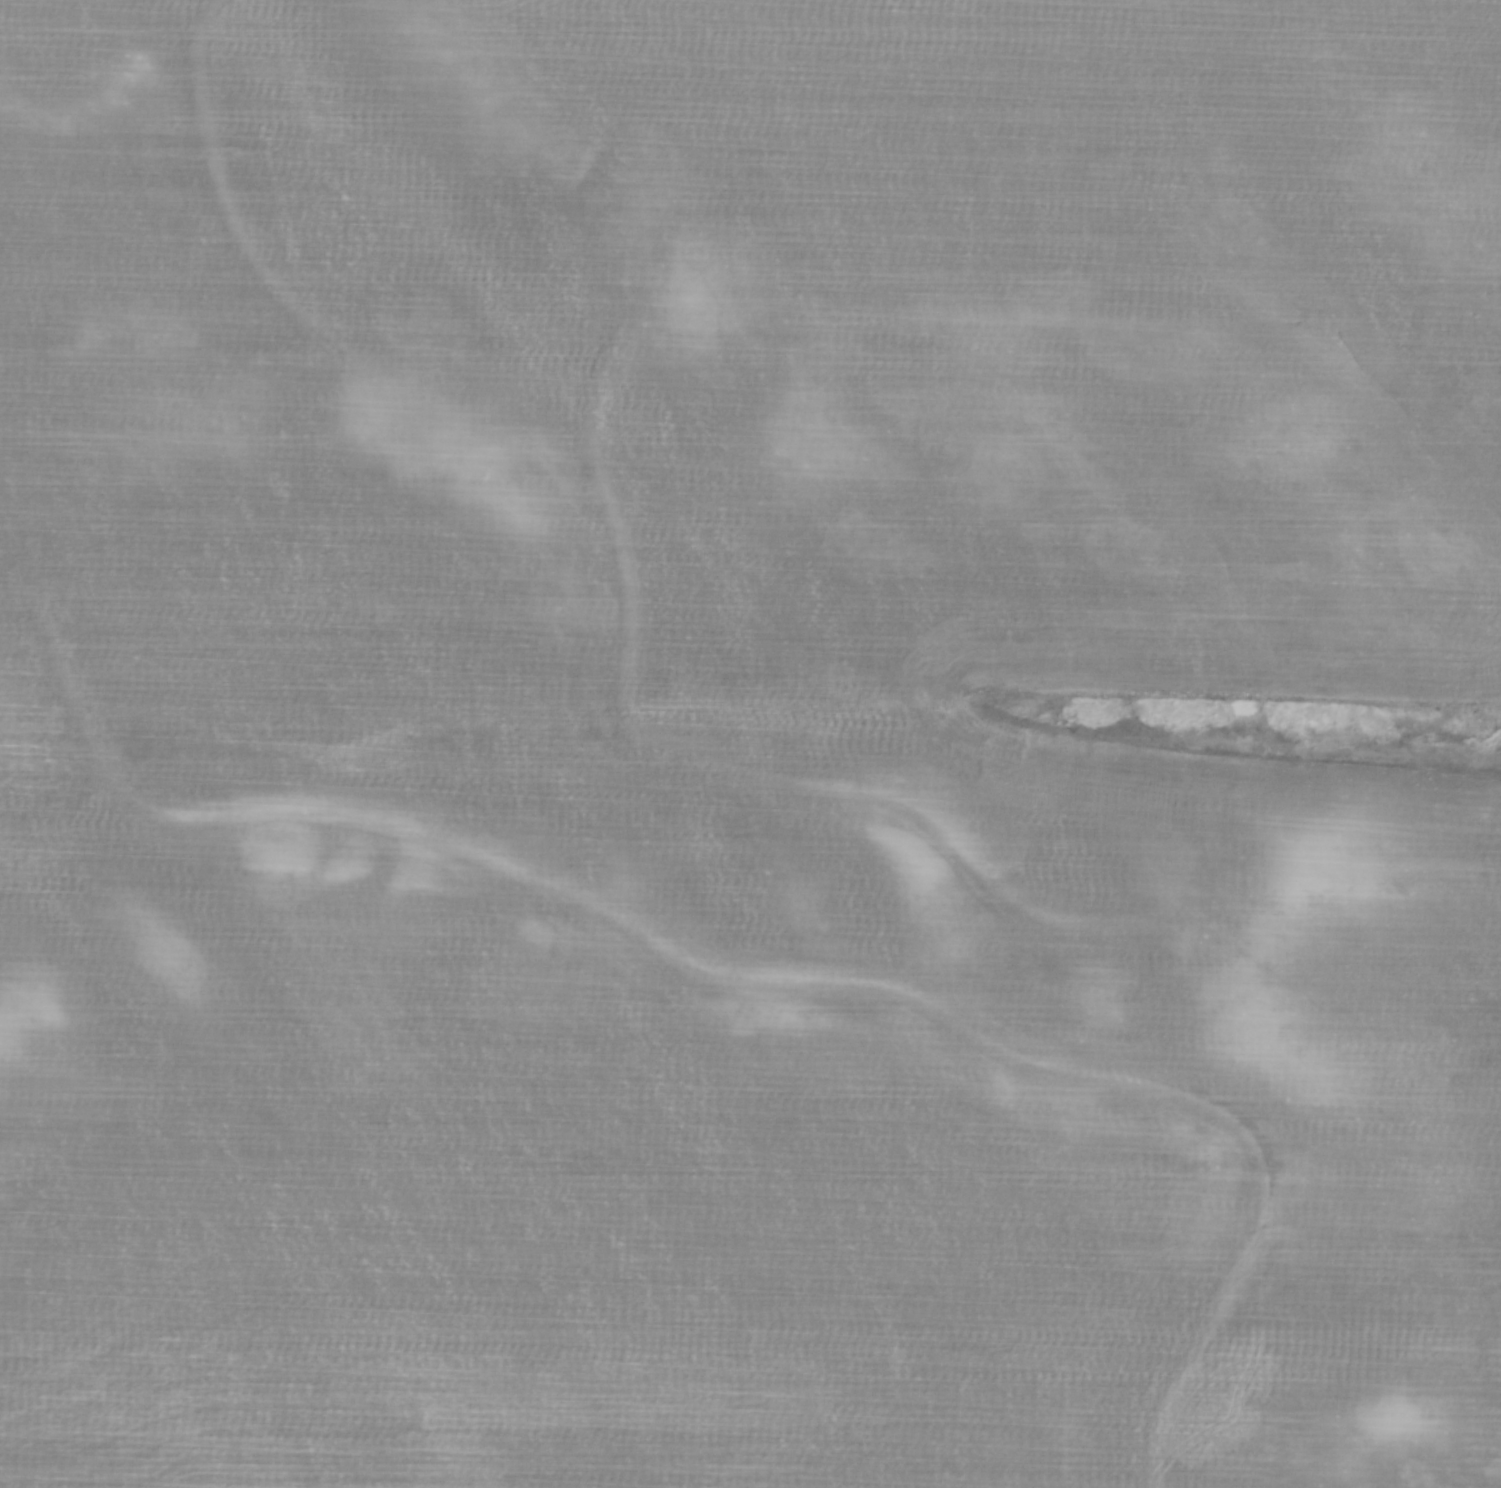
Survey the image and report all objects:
crop: (743, 744)

